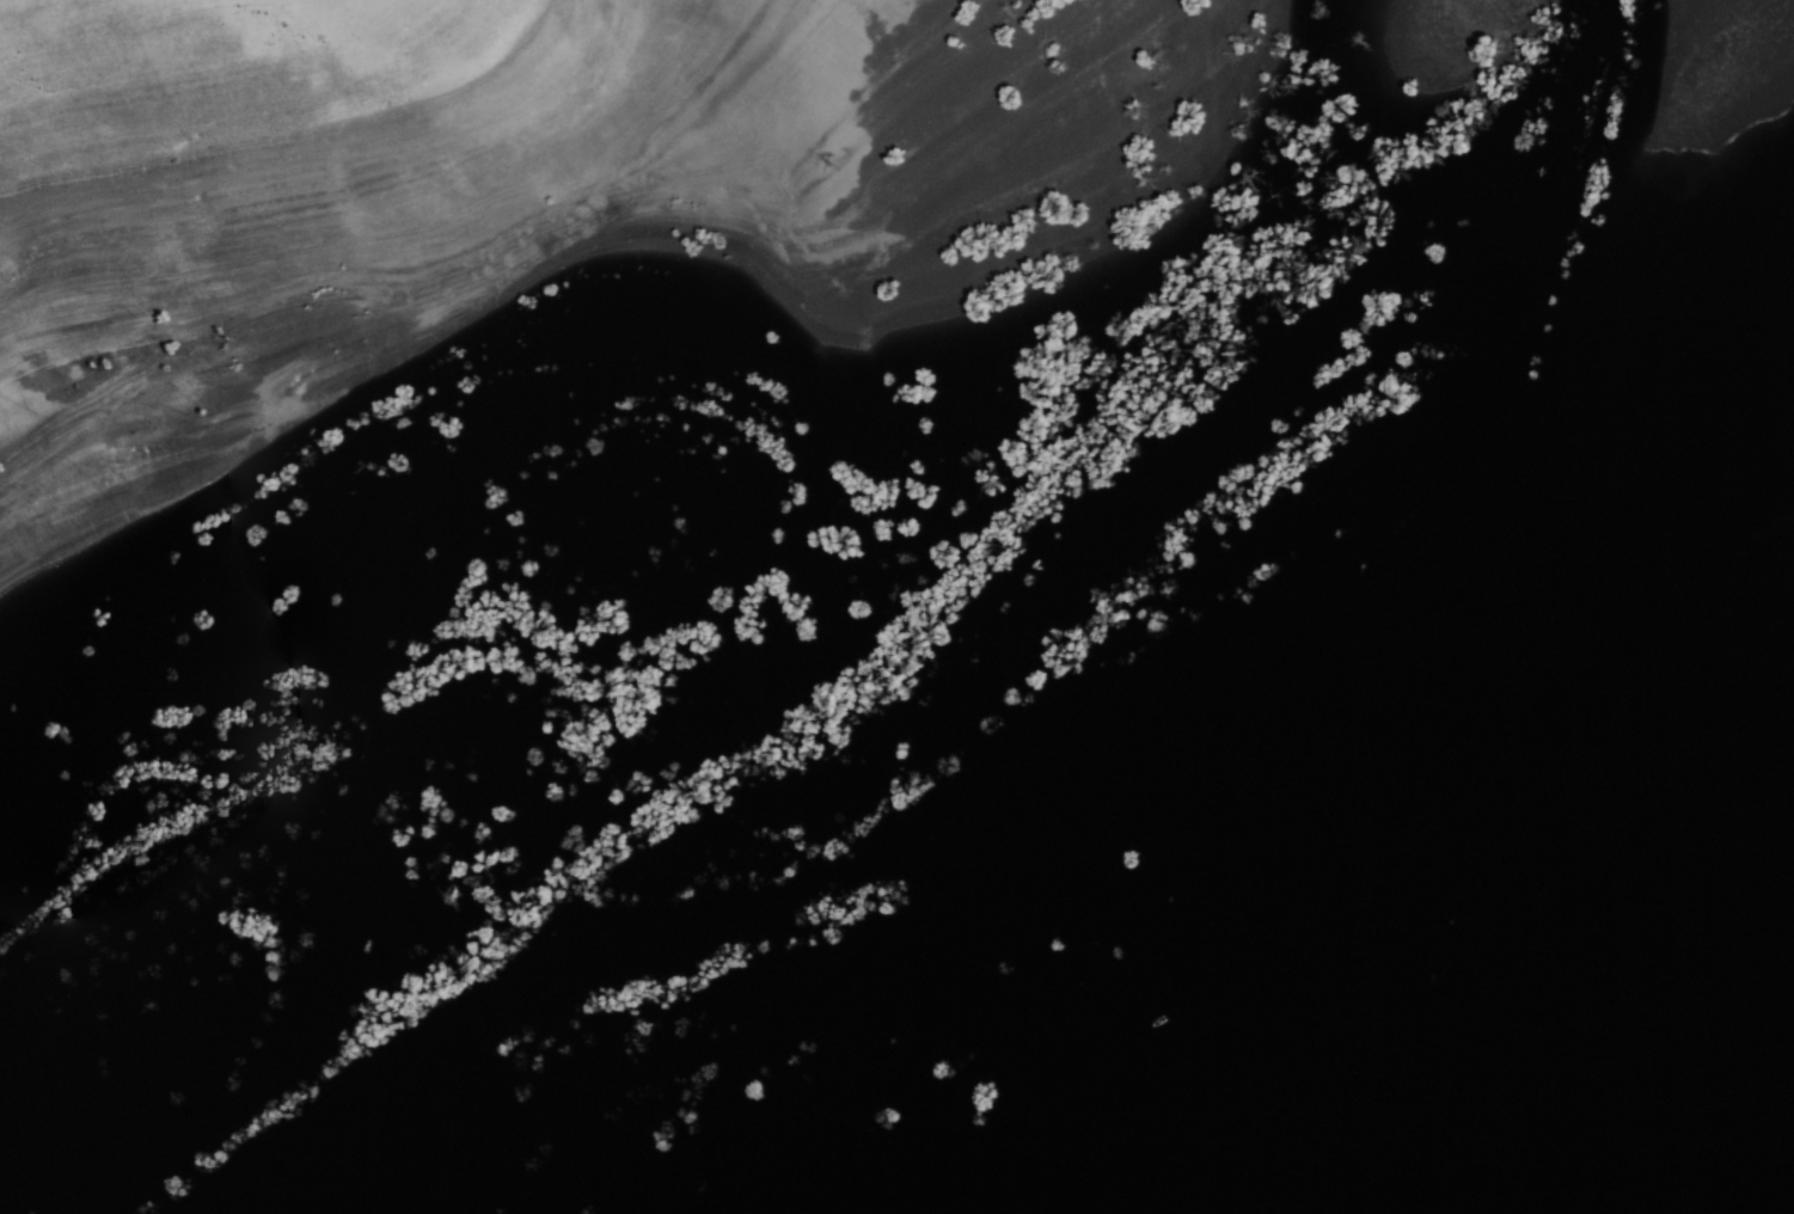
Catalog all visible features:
river: (1078, 725)

